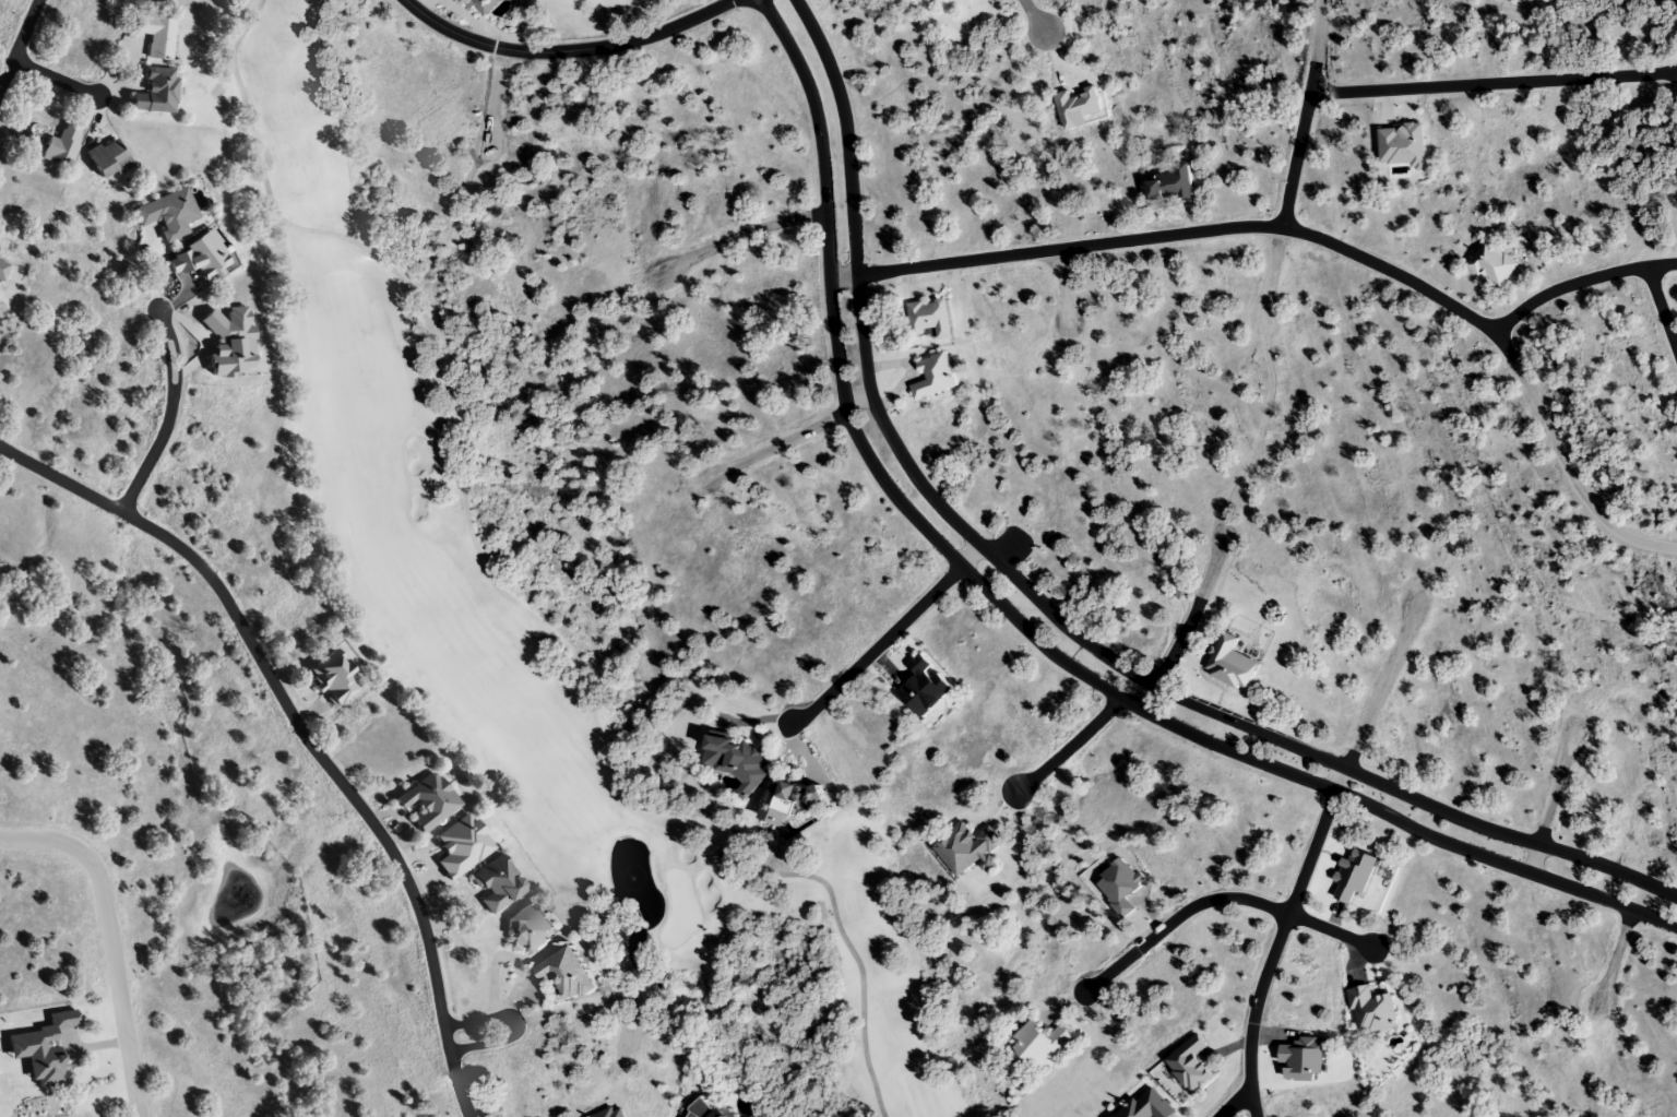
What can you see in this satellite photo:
park: (605, 11)
road: (1033, 16)
building: (156, 36)
road: (19, 43)
road: (569, 48)
road: (55, 76)
road: (1492, 82)
building: (154, 92)
road: (493, 96)
road: (1306, 114)
building: (60, 145)
building: (104, 159)
building: (1169, 185)
building: (164, 214)
road: (736, 237)
road: (1319, 238)
building: (1491, 264)
road: (1273, 274)
road: (1578, 282)
road: (1061, 288)
road: (1662, 309)
building: (929, 318)
building: (932, 377)
road: (168, 415)
road: (784, 440)
road: (970, 559)
road: (1045, 616)
road: (1190, 617)
road: (1027, 632)
park: (549, 637)
road: (876, 647)
building: (1229, 664)
building: (331, 678)
building: (925, 687)
road: (1376, 698)
road: (299, 732)
road: (1067, 749)
building: (736, 764)
road: (1551, 797)
building: (426, 801)
building: (785, 804)
building: (457, 847)
building: (967, 851)
building: (495, 884)
road: (1220, 898)
building: (527, 927)
road: (107, 939)
road: (1273, 950)
road: (1614, 962)
building: (563, 973)
road: (473, 1035)
building: (1040, 1044)
building: (40, 1048)
road: (1233, 1102)
building: (1147, 1106)
building: (703, 1109)

